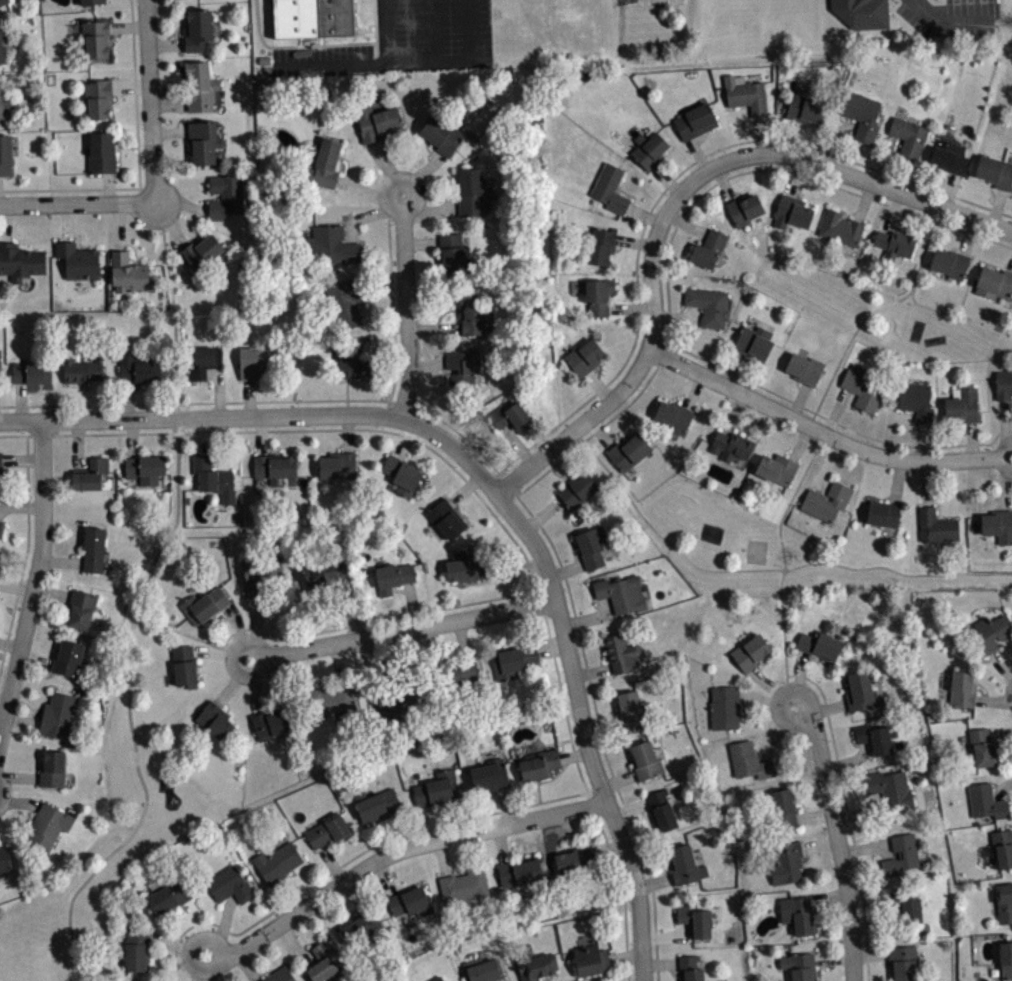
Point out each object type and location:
building: (2, 1)
building: (90, 1)
parking lot: (651, 2)
building: (861, 12)
road: (947, 17)
building: (312, 18)
parking lot: (950, 18)
road: (127, 26)
building: (198, 29)
road: (386, 30)
road: (429, 30)
parking lot: (443, 34)
building: (1, 37)
building: (96, 37)
road: (166, 43)
road: (318, 45)
road: (405, 60)
road: (129, 85)
building: (199, 86)
building: (746, 92)
building: (98, 96)
road: (168, 99)
road: (135, 100)
road: (150, 100)
building: (4, 101)
building: (807, 105)
building: (862, 114)
building: (374, 117)
building: (694, 120)
road: (169, 130)
building: (441, 134)
road: (761, 134)
building: (908, 134)
road: (787, 135)
road: (834, 139)
building: (204, 140)
building: (648, 148)
building: (102, 151)
road: (697, 153)
road: (764, 153)
building: (5, 154)
building: (948, 154)
road: (885, 159)
building: (323, 162)
road: (386, 165)
building: (995, 170)
road: (421, 171)
road: (794, 176)
road: (667, 178)
road: (724, 181)
road: (667, 184)
road: (107, 186)
road: (69, 187)
building: (610, 187)
road: (949, 188)
road: (367, 191)
building: (472, 191)
building: (226, 194)
road: (863, 200)
road: (76, 202)
road: (181, 202)
road: (997, 205)
building: (743, 208)
road: (685, 209)
road: (426, 211)
building: (791, 211)
road: (891, 211)
road: (643, 213)
road: (368, 214)
road: (65, 221)
road: (5, 222)
road: (169, 222)
road: (685, 222)
road: (119, 225)
building: (840, 226)
road: (968, 235)
road: (422, 241)
road: (634, 241)
building: (601, 243)
building: (894, 243)
building: (332, 244)
building: (708, 247)
building: (201, 251)
building: (454, 254)
building: (78, 258)
building: (20, 260)
building: (950, 263)
road: (1011, 268)
building: (129, 271)
building: (994, 282)
building: (598, 295)
building: (347, 299)
building: (709, 305)
road: (407, 306)
road: (631, 307)
road: (174, 308)
road: (872, 309)
road: (393, 310)
park: (873, 311)
building: (471, 312)
road: (678, 316)
road: (377, 326)
road: (434, 326)
building: (754, 341)
building: (584, 356)
building: (254, 360)
building: (203, 361)
road: (428, 363)
building: (1, 364)
building: (353, 364)
building: (139, 365)
road: (393, 365)
road: (731, 366)
building: (804, 367)
building: (462, 368)
building: (82, 369)
building: (31, 371)
building: (1003, 384)
road: (598, 385)
building: (864, 385)
road: (219, 389)
road: (693, 390)
road: (249, 397)
road: (95, 398)
road: (128, 398)
road: (261, 399)
road: (798, 399)
road: (19, 400)
building: (916, 400)
building: (962, 403)
road: (834, 409)
road: (732, 413)
building: (673, 414)
building: (511, 416)
road: (200, 418)
road: (831, 418)
road: (52, 419)
road: (1004, 423)
road: (578, 426)
road: (599, 431)
road: (347, 432)
road: (824, 432)
road: (261, 435)
road: (201, 436)
road: (130, 438)
road: (970, 439)
road: (405, 440)
road: (920, 441)
road: (799, 442)
road: (77, 444)
road: (517, 444)
building: (731, 445)
road: (453, 446)
building: (627, 451)
road: (825, 463)
building: (0, 465)
building: (338, 465)
building: (274, 467)
building: (145, 468)
building: (777, 468)
building: (90, 473)
building: (402, 474)
building: (213, 477)
road: (510, 479)
road: (897, 481)
road: (925, 483)
road: (1006, 486)
road: (465, 488)
building: (578, 489)
road: (483, 500)
building: (826, 500)
road: (21, 505)
building: (883, 512)
road: (542, 513)
building: (446, 518)
building: (998, 524)
building: (935, 525)
building: (1, 526)
building: (3, 534)
building: (591, 545)
park: (765, 547)
building: (93, 548)
park: (756, 549)
road: (25, 553)
building: (1, 560)
road: (61, 560)
road: (784, 564)
road: (513, 565)
building: (465, 567)
building: (1, 568)
road: (764, 568)
building: (326, 569)
road: (565, 569)
building: (260, 574)
building: (392, 575)
road: (35, 577)
building: (331, 579)
road: (16, 586)
road: (52, 591)
building: (621, 592)
building: (204, 603)
road: (351, 606)
building: (80, 608)
road: (591, 618)
road: (371, 619)
road: (256, 628)
road: (403, 630)
road: (237, 631)
building: (990, 632)
road: (191, 635)
road: (462, 637)
road: (416, 640)
road: (10, 643)
building: (819, 644)
road: (551, 646)
building: (749, 651)
building: (619, 652)
road: (221, 653)
building: (68, 657)
road: (35, 658)
building: (514, 659)
road: (338, 663)
road: (1000, 663)
building: (184, 665)
building: (459, 667)
road: (591, 670)
road: (368, 673)
road: (798, 677)
road: (233, 681)
road: (258, 684)
road: (773, 685)
building: (961, 687)
building: (860, 691)
building: (403, 692)
building: (331, 698)
road: (993, 699)
road: (765, 700)
building: (724, 706)
road: (828, 706)
building: (631, 708)
road: (129, 709)
building: (58, 715)
road: (22, 720)
building: (215, 720)
building: (269, 722)
road: (602, 725)
road: (584, 730)
road: (600, 732)
road: (776, 732)
road: (1000, 732)
building: (873, 737)
building: (982, 746)
road: (574, 755)
building: (647, 759)
building: (748, 759)
road: (848, 759)
building: (539, 763)
building: (53, 768)
building: (489, 774)
road: (18, 776)
road: (618, 779)
building: (437, 788)
road: (1002, 788)
building: (889, 789)
building: (986, 800)
road: (19, 801)
building: (376, 803)
road: (505, 804)
road: (630, 807)
building: (783, 807)
building: (661, 810)
road: (859, 810)
road: (814, 814)
road: (846, 814)
road: (428, 822)
building: (48, 826)
road: (401, 828)
building: (328, 830)
road: (836, 837)
road: (0, 840)
road: (501, 842)
road: (819, 843)
road: (608, 847)
building: (1002, 847)
road: (366, 848)
road: (865, 848)
road: (394, 851)
building: (901, 854)
road: (442, 857)
building: (5, 858)
building: (575, 860)
building: (277, 862)
building: (787, 862)
road: (331, 863)
building: (685, 864)
building: (518, 870)
road: (385, 876)
road: (308, 880)
road: (654, 881)
building: (229, 883)
building: (464, 885)
building: (168, 895)
road: (356, 895)
road: (830, 899)
building: (410, 902)
building: (1004, 902)
building: (903, 904)
building: (797, 912)
building: (694, 920)
road: (199, 924)
road: (878, 924)
road: (223, 925)
building: (362, 929)
road: (666, 935)
park: (32, 942)
road: (177, 944)
road: (295, 944)
building: (137, 949)
road: (870, 954)
road: (624, 955)
building: (589, 958)
road: (834, 958)
building: (1005, 958)
building: (322, 961)
road: (660, 962)
building: (902, 962)
road: (178, 963)
road: (247, 965)
road: (200, 966)
road: (208, 966)
building: (535, 966)
building: (800, 966)
building: (690, 968)
building: (482, 969)
building: (279, 974)
building: (436, 978)

